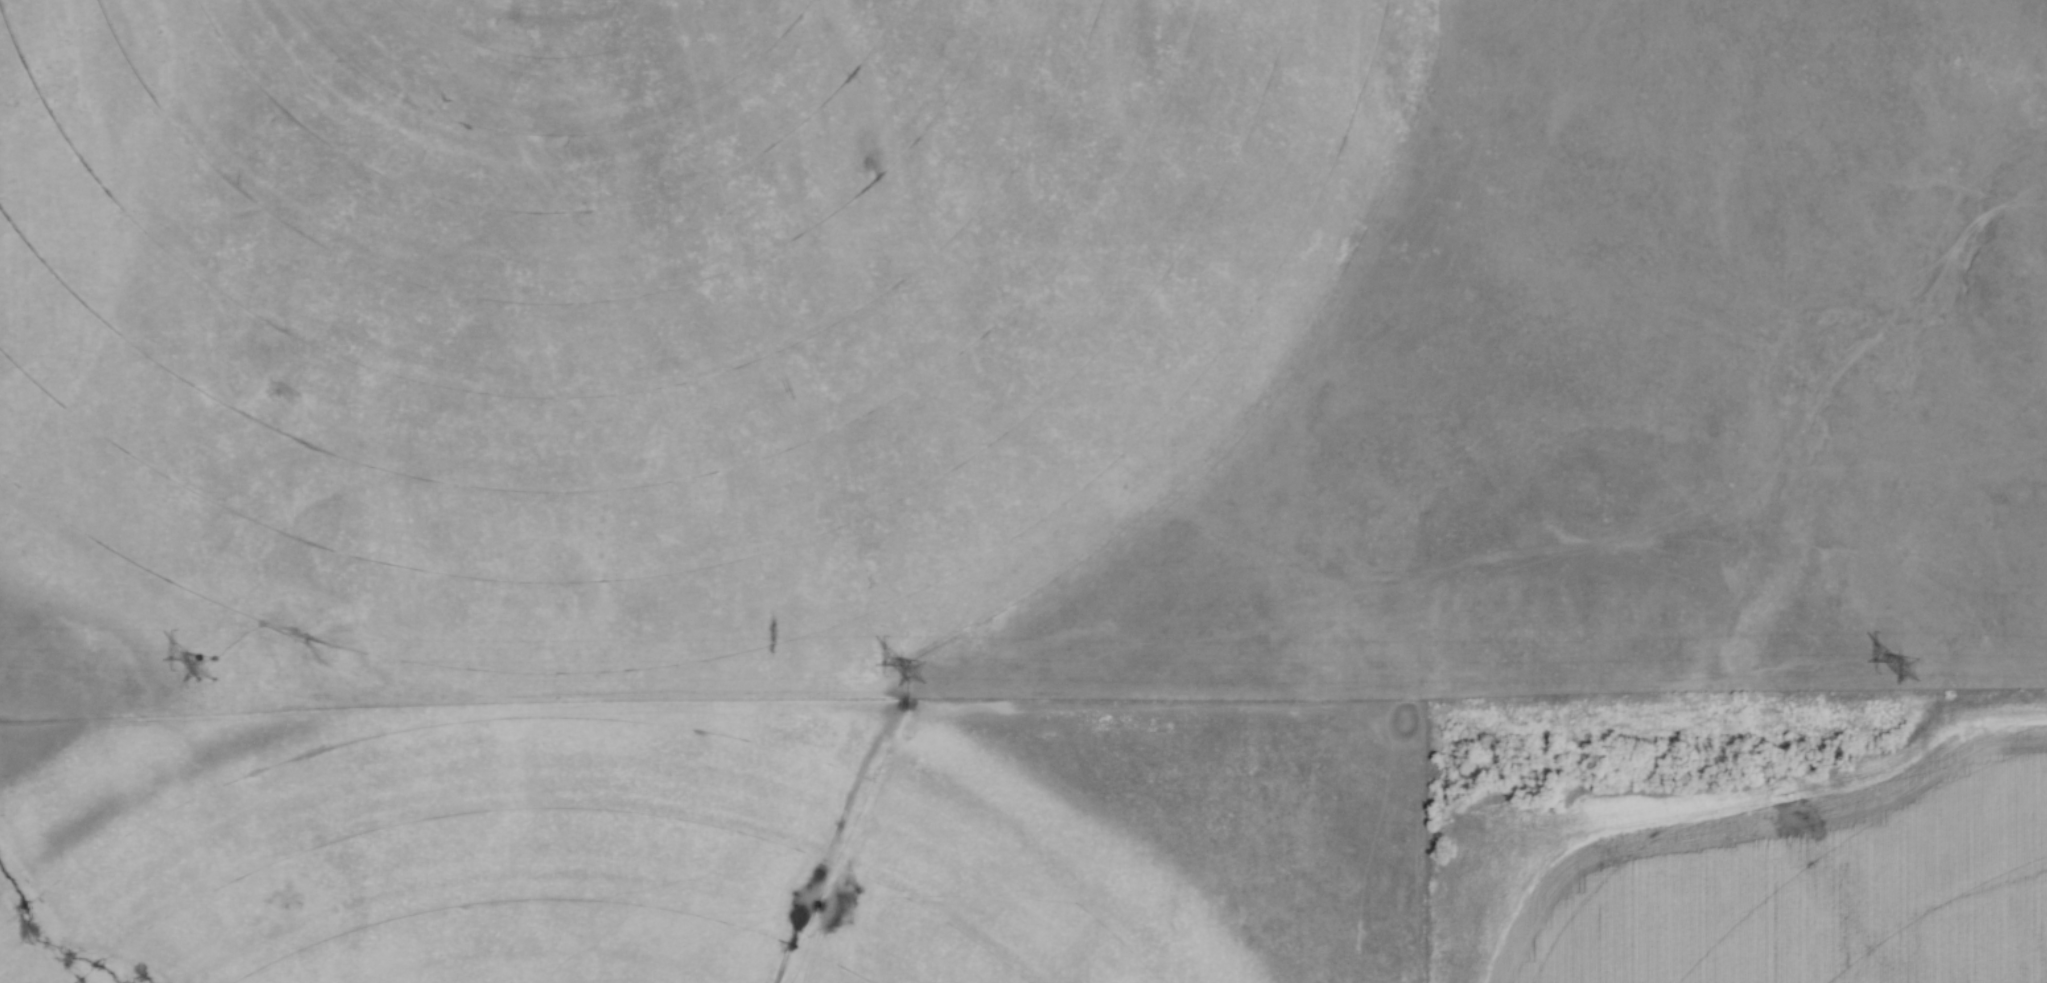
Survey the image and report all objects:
power tower: (204, 669)
power tower: (1909, 669)
power tower: (914, 672)

